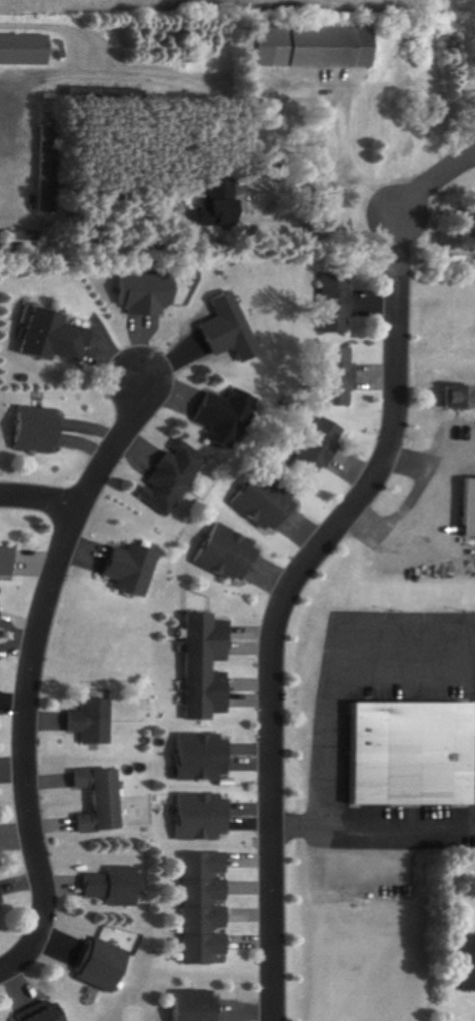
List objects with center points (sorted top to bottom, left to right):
crop: (229, 6)
building: (305, 47)
building: (21, 50)
building: (41, 169)
road: (416, 176)
building: (206, 203)
building: (18, 241)
building: (331, 303)
building: (218, 329)
building: (45, 337)
building: (333, 377)
building: (218, 418)
building: (29, 430)
building: (313, 449)
building: (166, 477)
road: (37, 498)
building: (260, 501)
building: (464, 509)
road: (430, 523)
building: (221, 553)
building: (7, 562)
building: (134, 570)
road: (277, 615)
building: (0, 616)
building: (209, 667)
road: (28, 674)
building: (93, 722)
building: (401, 755)
building: (204, 758)
building: (102, 800)
building: (203, 817)
road: (373, 828)
building: (116, 886)
building: (1, 896)
building: (205, 907)
building: (0, 916)
building: (465, 964)
building: (104, 966)

